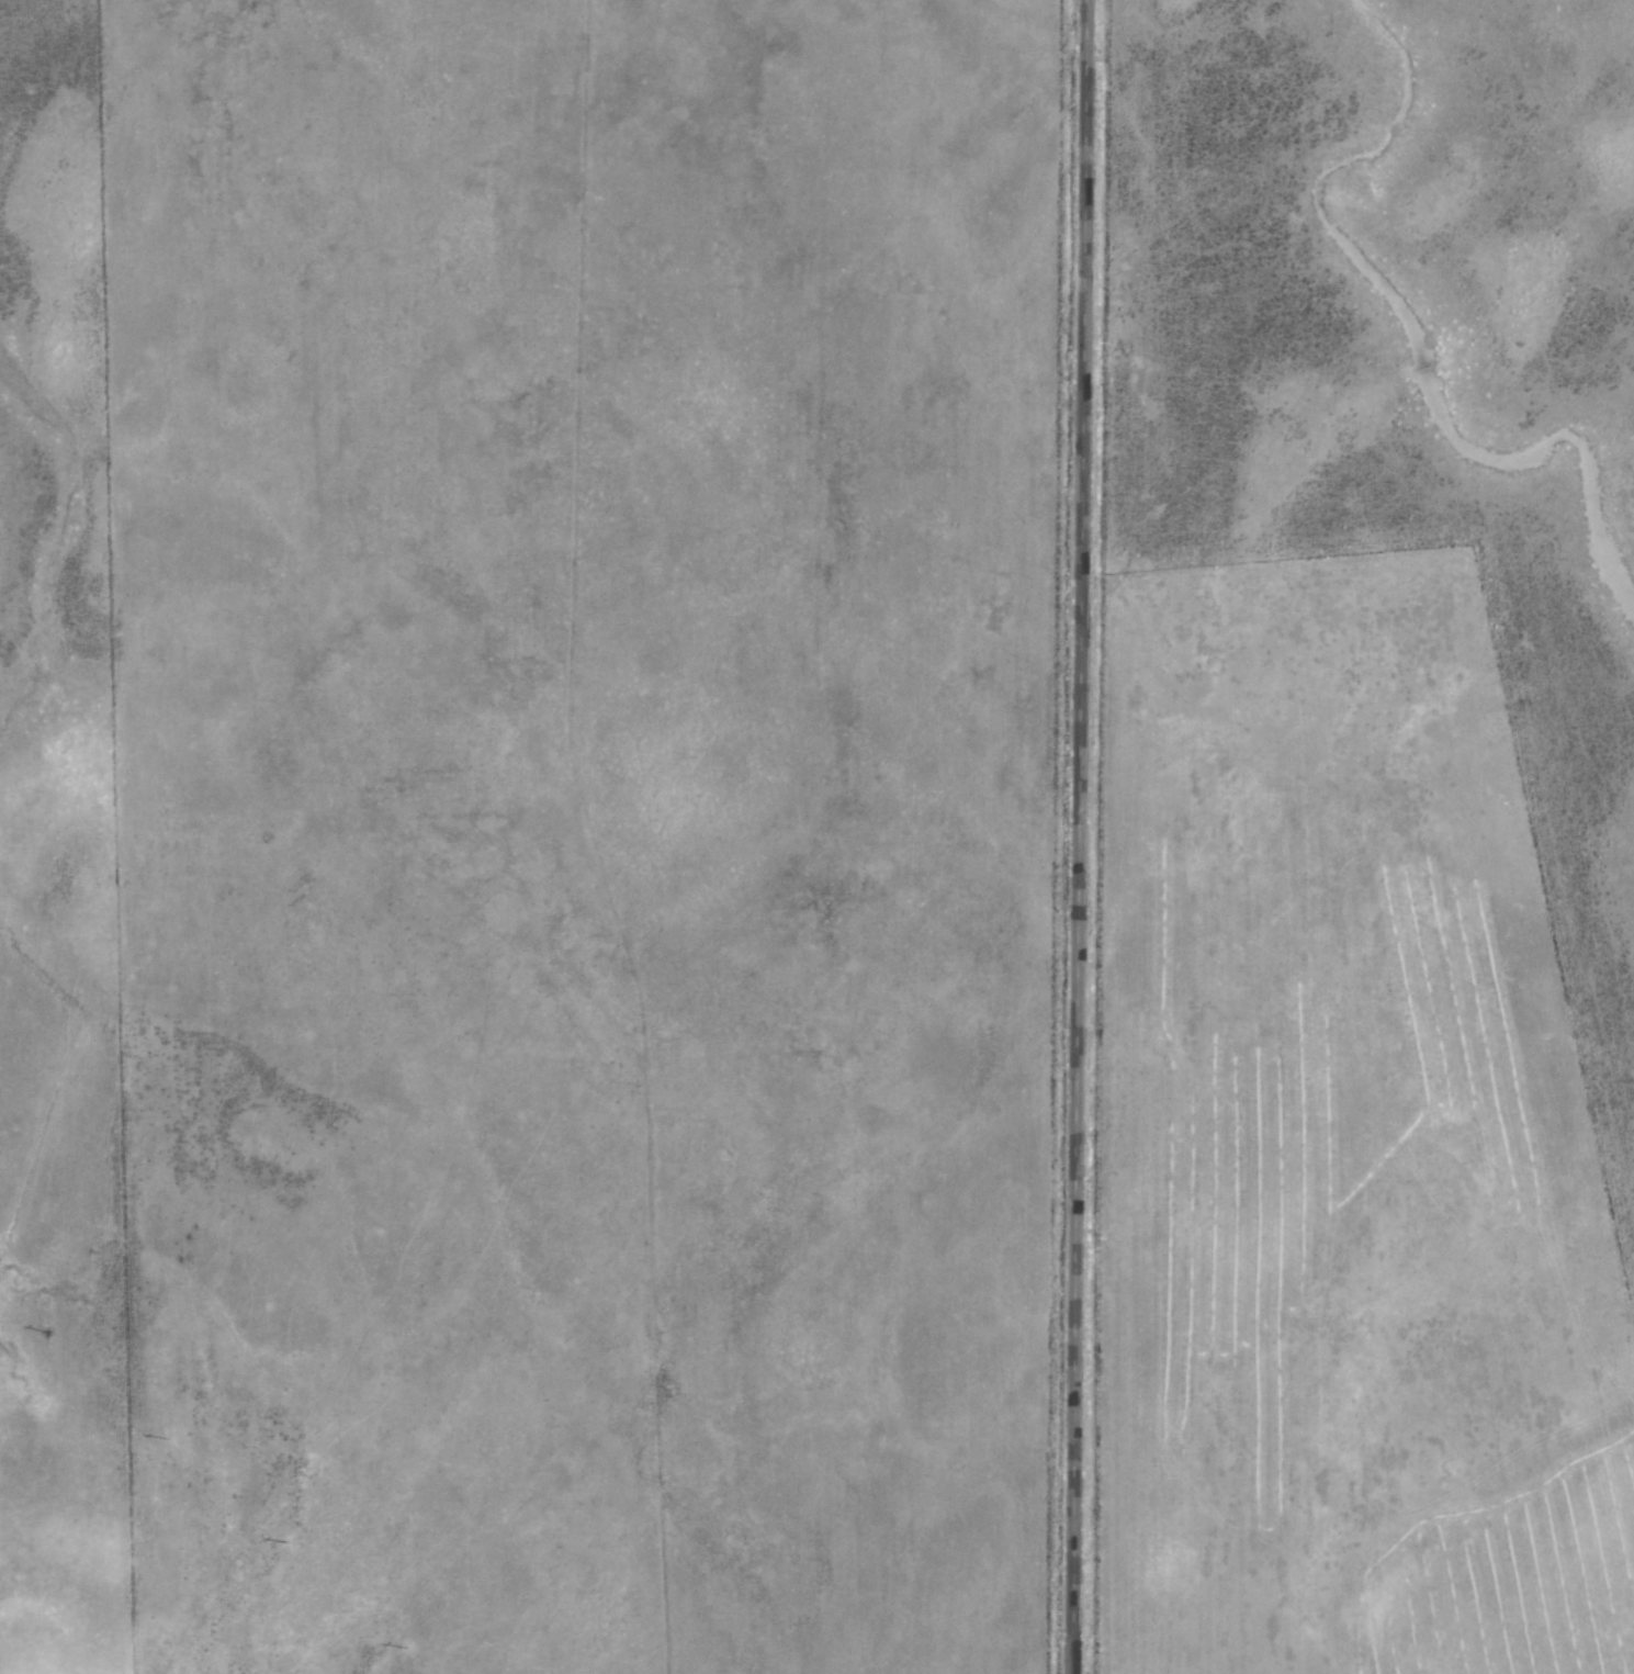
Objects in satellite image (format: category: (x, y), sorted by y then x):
crop: (34, 250)
road: (1075, 836)
crop: (1336, 841)

